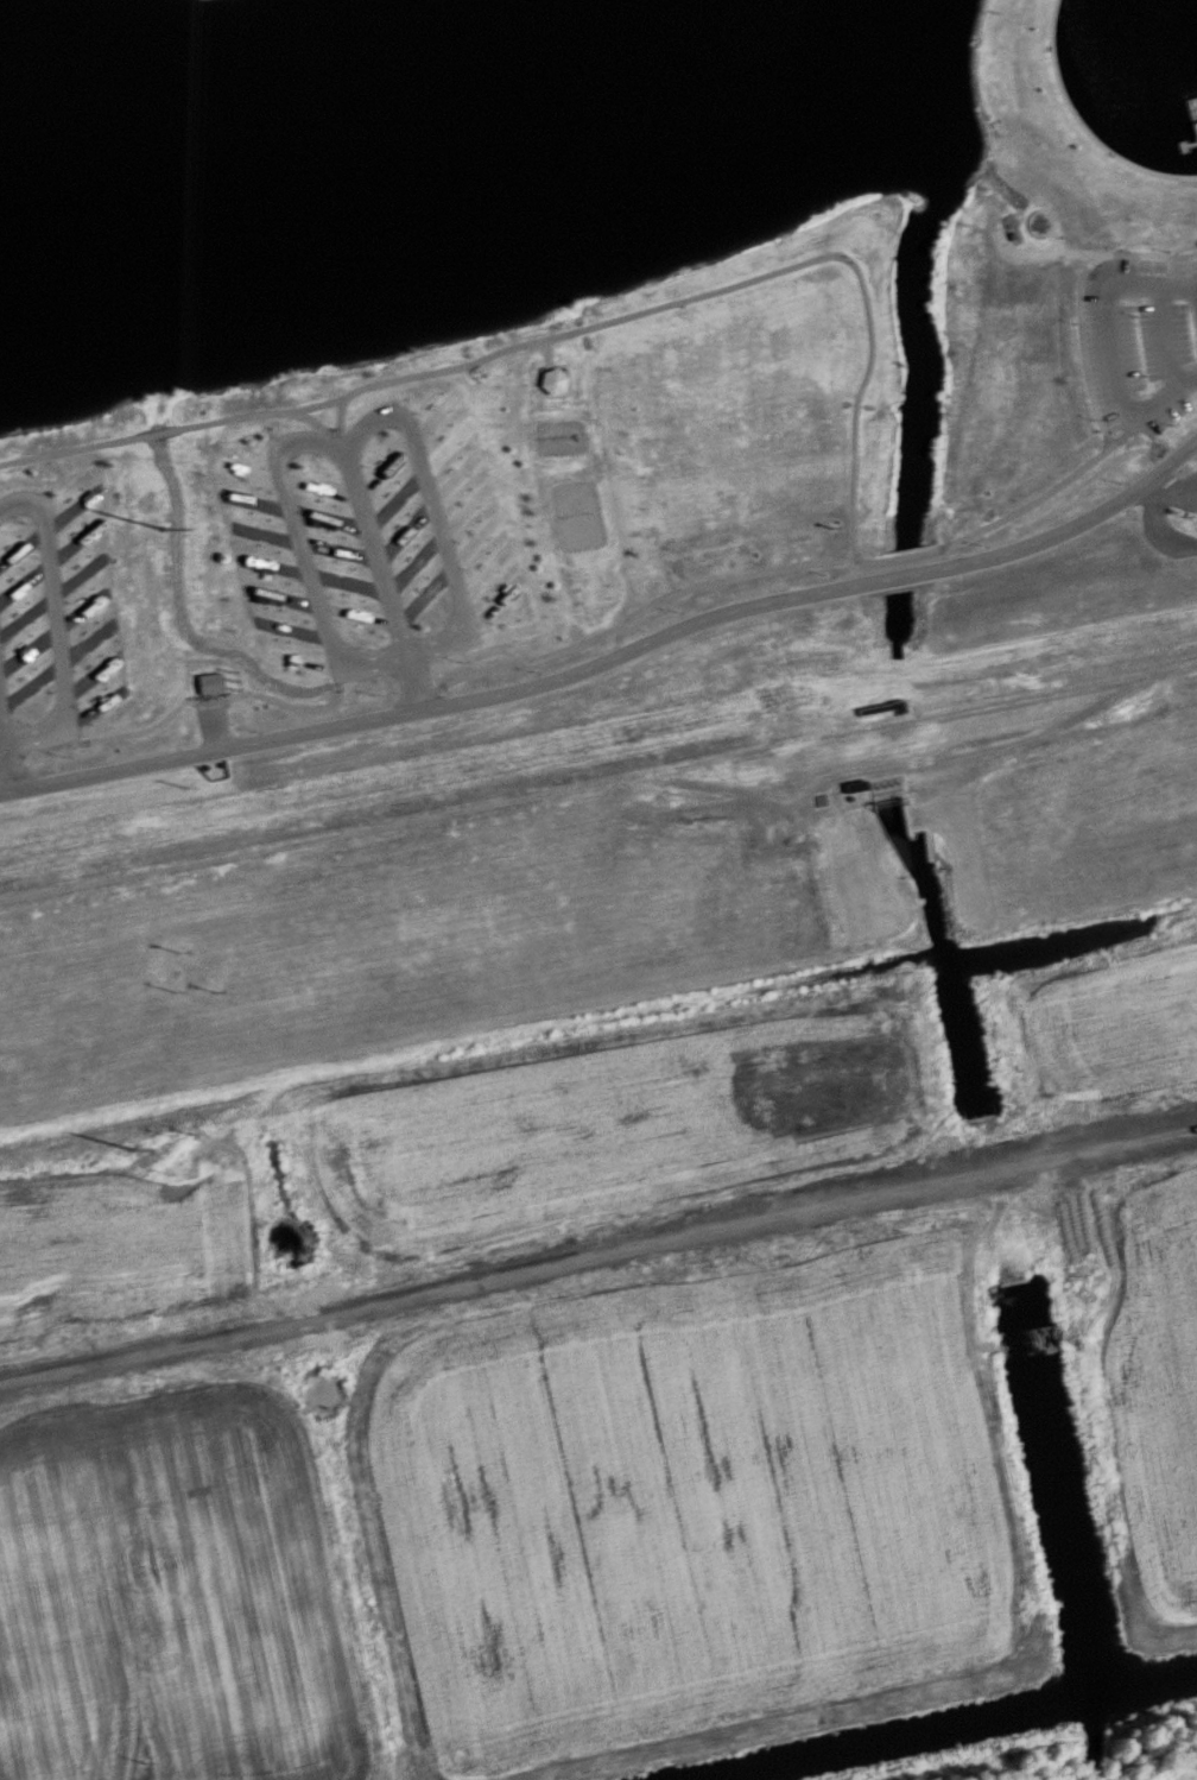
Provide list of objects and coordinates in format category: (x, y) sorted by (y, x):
pier: (1192, 109)
road: (1082, 122)
building: (1195, 125)
road: (1190, 141)
pier: (1186, 143)
road: (1168, 272)
road: (748, 279)
road: (1161, 339)
parking lot: (1144, 346)
road: (1108, 349)
building: (552, 378)
park: (568, 393)
road: (1091, 397)
road: (433, 415)
road: (313, 421)
road: (340, 425)
road: (171, 428)
road: (1123, 434)
road: (444, 444)
road: (385, 466)
road: (248, 469)
road: (452, 478)
road: (318, 486)
road: (1170, 492)
parking lot: (1185, 492)
road: (394, 497)
road: (254, 499)
road: (71, 509)
road: (464, 509)
road: (435, 512)
park: (575, 515)
road: (328, 516)
road: (1078, 522)
power tower: (163, 528)
road: (404, 529)
road: (265, 532)
road: (1154, 532)
road: (471, 541)
road: (74, 543)
road: (23, 544)
road: (337, 549)
road: (302, 550)
road: (375, 554)
road: (902, 554)
road: (413, 561)
road: (273, 564)
road: (78, 574)
road: (484, 574)
road: (902, 574)
road: (25, 579)
road: (347, 581)
road: (423, 593)
road: (280, 595)
road: (488, 607)
road: (82, 610)
road: (632, 612)
road: (26, 614)
road: (356, 614)
road: (56, 621)
road: (291, 627)
road: (494, 636)
road: (88, 640)
road: (28, 649)
road: (308, 661)
road: (89, 675)
road: (411, 680)
building: (209, 681)
road: (30, 684)
road: (210, 700)
road: (436, 703)
road: (91, 708)
parking lot: (210, 713)
road: (0, 734)
road: (0, 740)
road: (5, 765)
power tower: (132, 1148)
road: (598, 1256)

